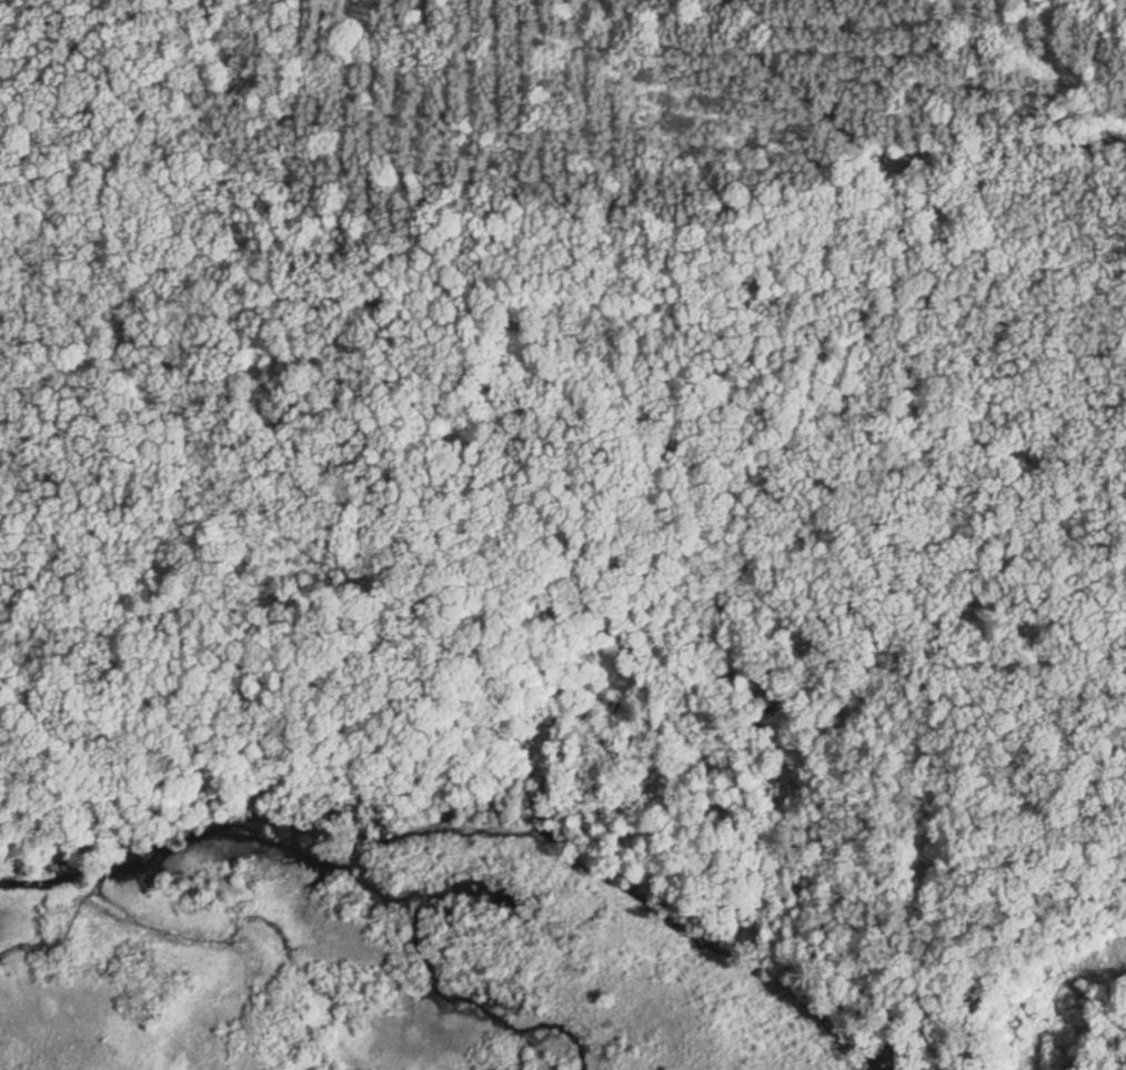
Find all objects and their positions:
road: (804, 60)
road: (1015, 123)
road: (963, 286)

